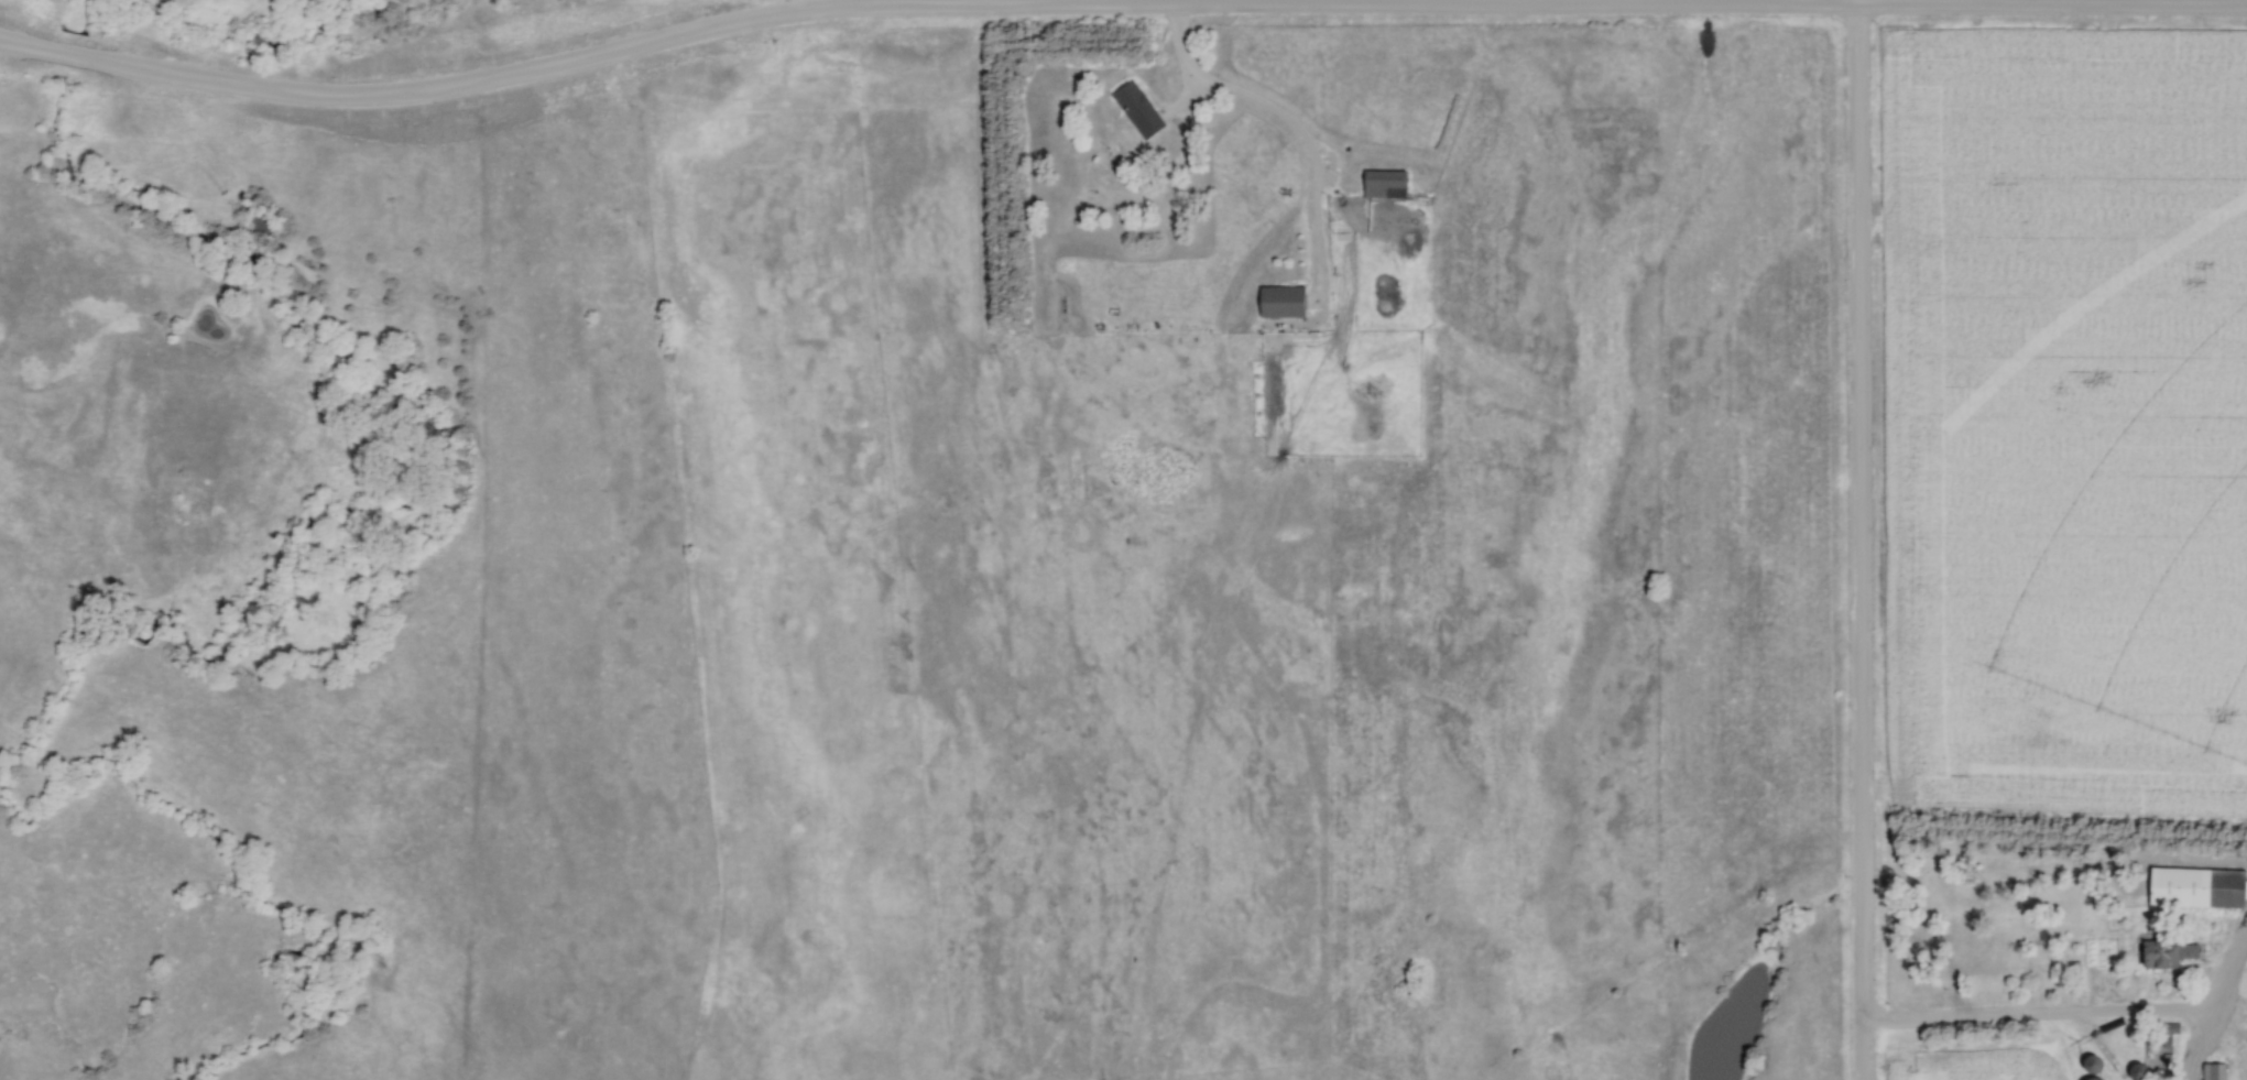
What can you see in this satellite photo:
road: (970, 1)
road: (2053, 1)
road: (641, 43)
building: (1136, 110)
road: (1298, 126)
building: (1383, 185)
building: (1279, 303)
road: (1859, 539)
building: (2196, 888)
building: (2159, 954)
road: (2044, 1011)
building: (2092, 1063)
building: (2213, 1071)
building: (2138, 1072)

